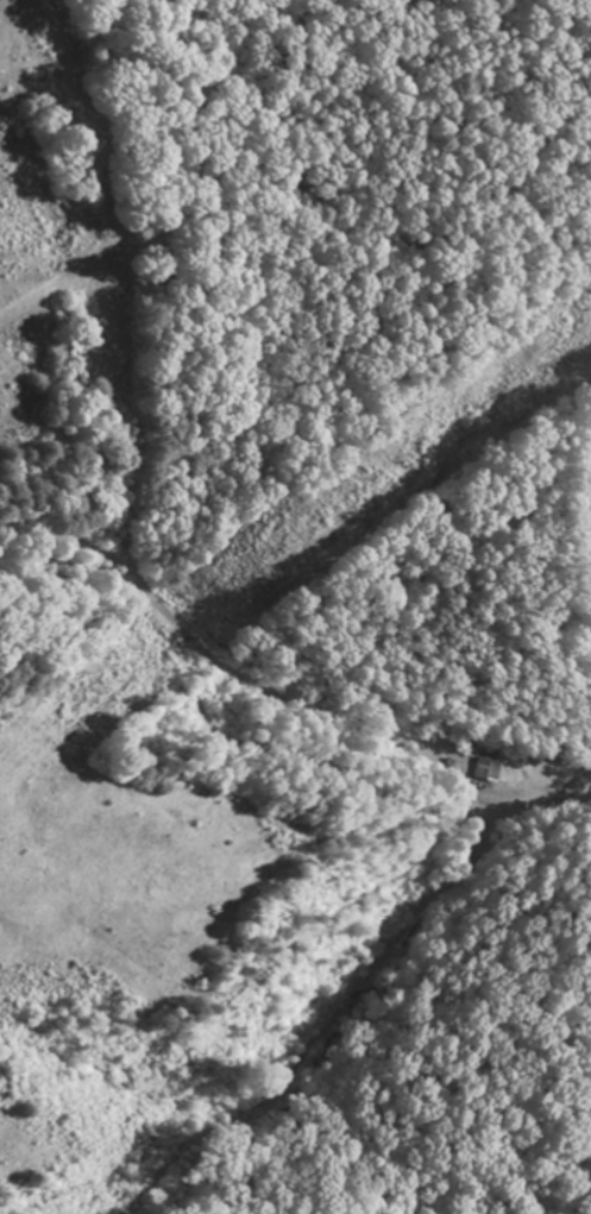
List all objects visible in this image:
building: (489, 773)
road: (297, 952)

